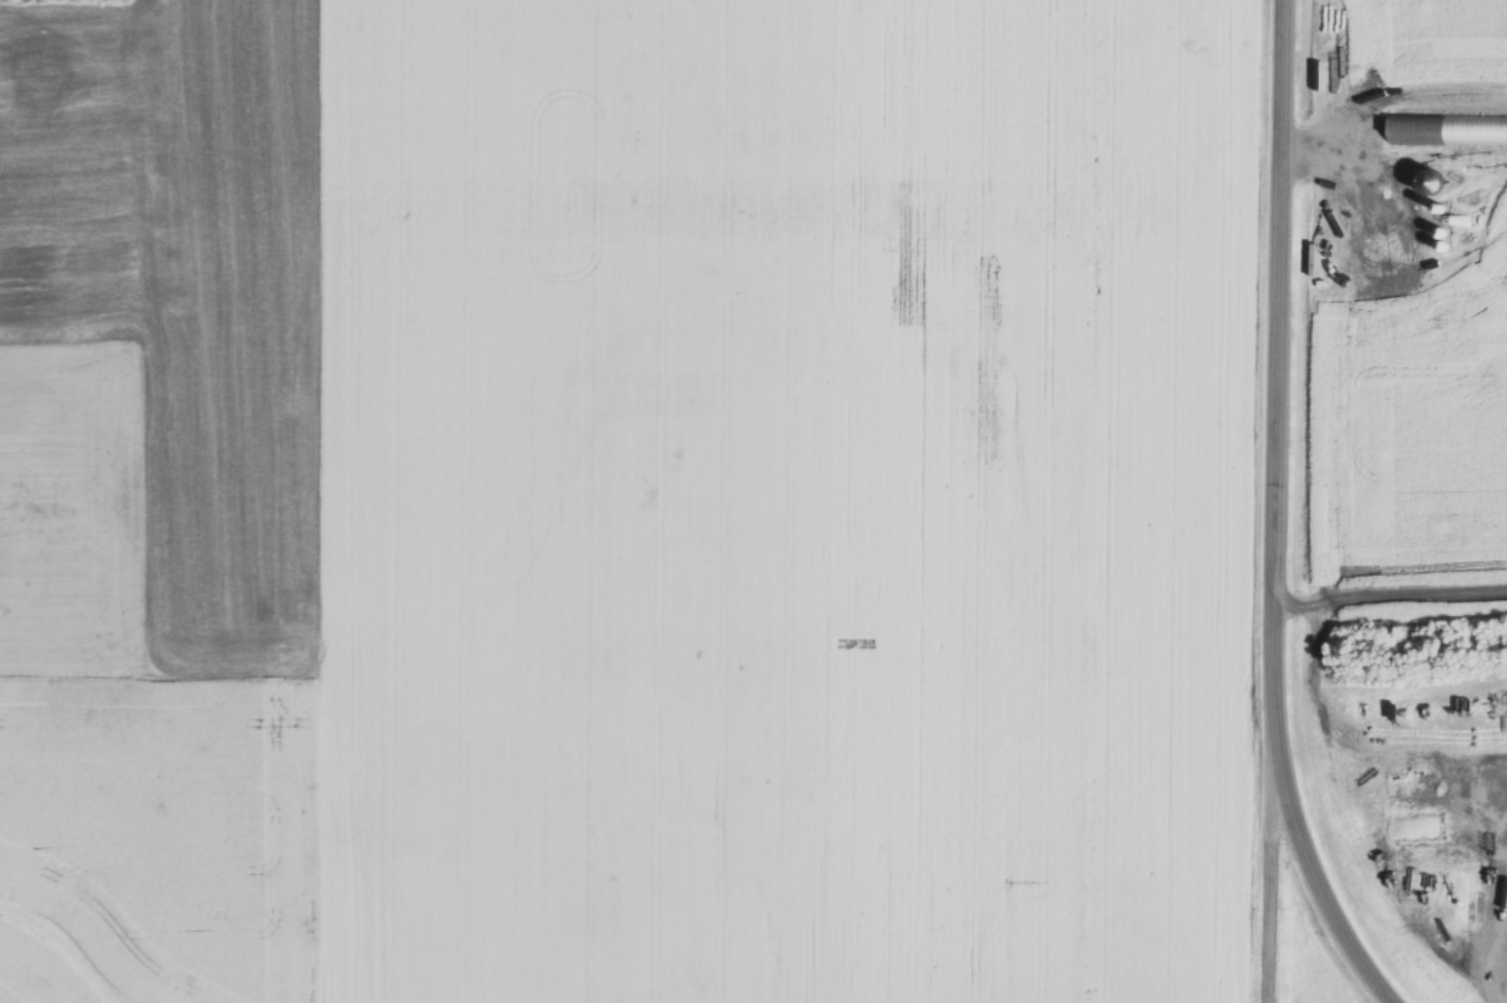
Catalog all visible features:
building: (1417, 130)
building: (1436, 181)
road: (1287, 392)
road: (1279, 893)
road: (1328, 898)

